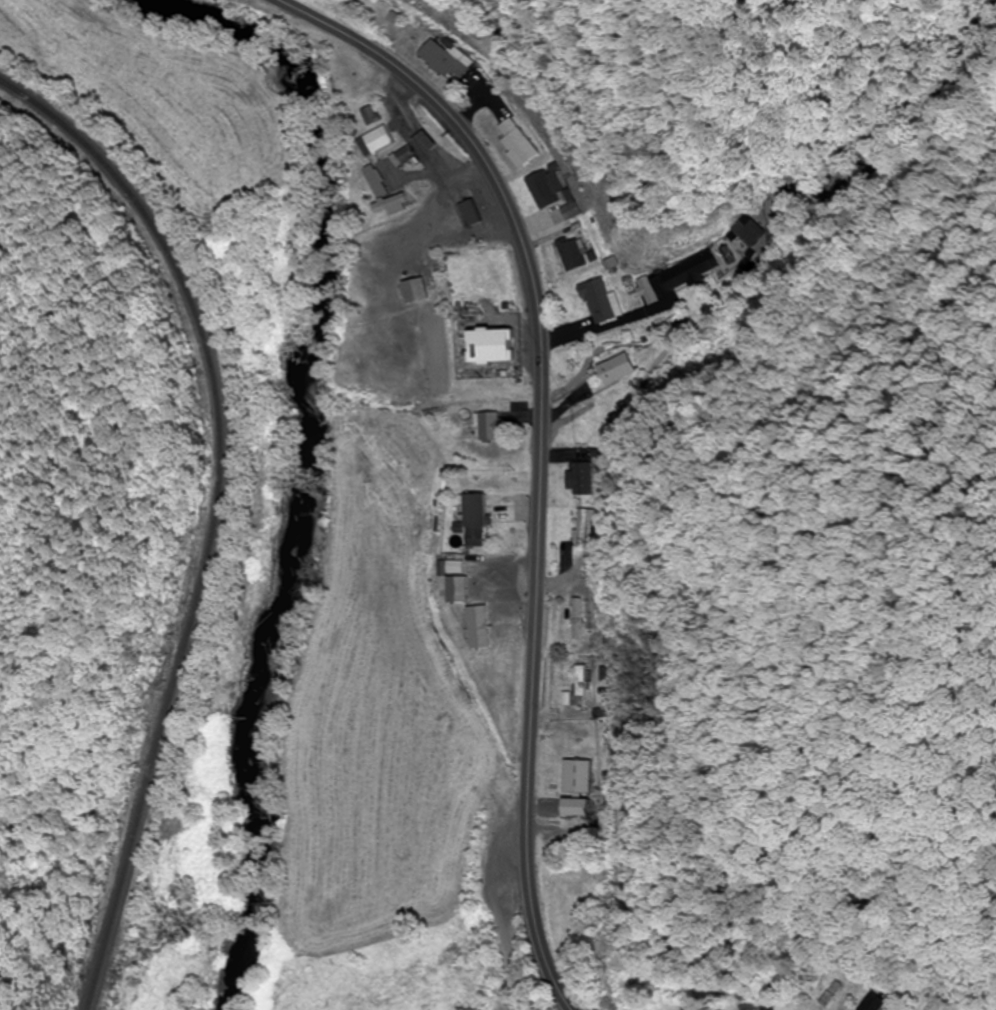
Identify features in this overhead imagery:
building: (449, 60)
building: (383, 140)
building: (518, 143)
building: (389, 194)
building: (541, 194)
building: (472, 213)
building: (751, 231)
building: (573, 254)
building: (680, 277)
building: (420, 291)
building: (602, 301)
building: (496, 347)
building: (616, 368)
building: (492, 426)
road: (538, 453)
river: (312, 459)
building: (580, 479)
railway: (212, 515)
building: (479, 519)
building: (582, 526)
building: (481, 626)
building: (579, 680)
building: (575, 776)
building: (575, 806)
road: (504, 975)
building: (878, 1002)

